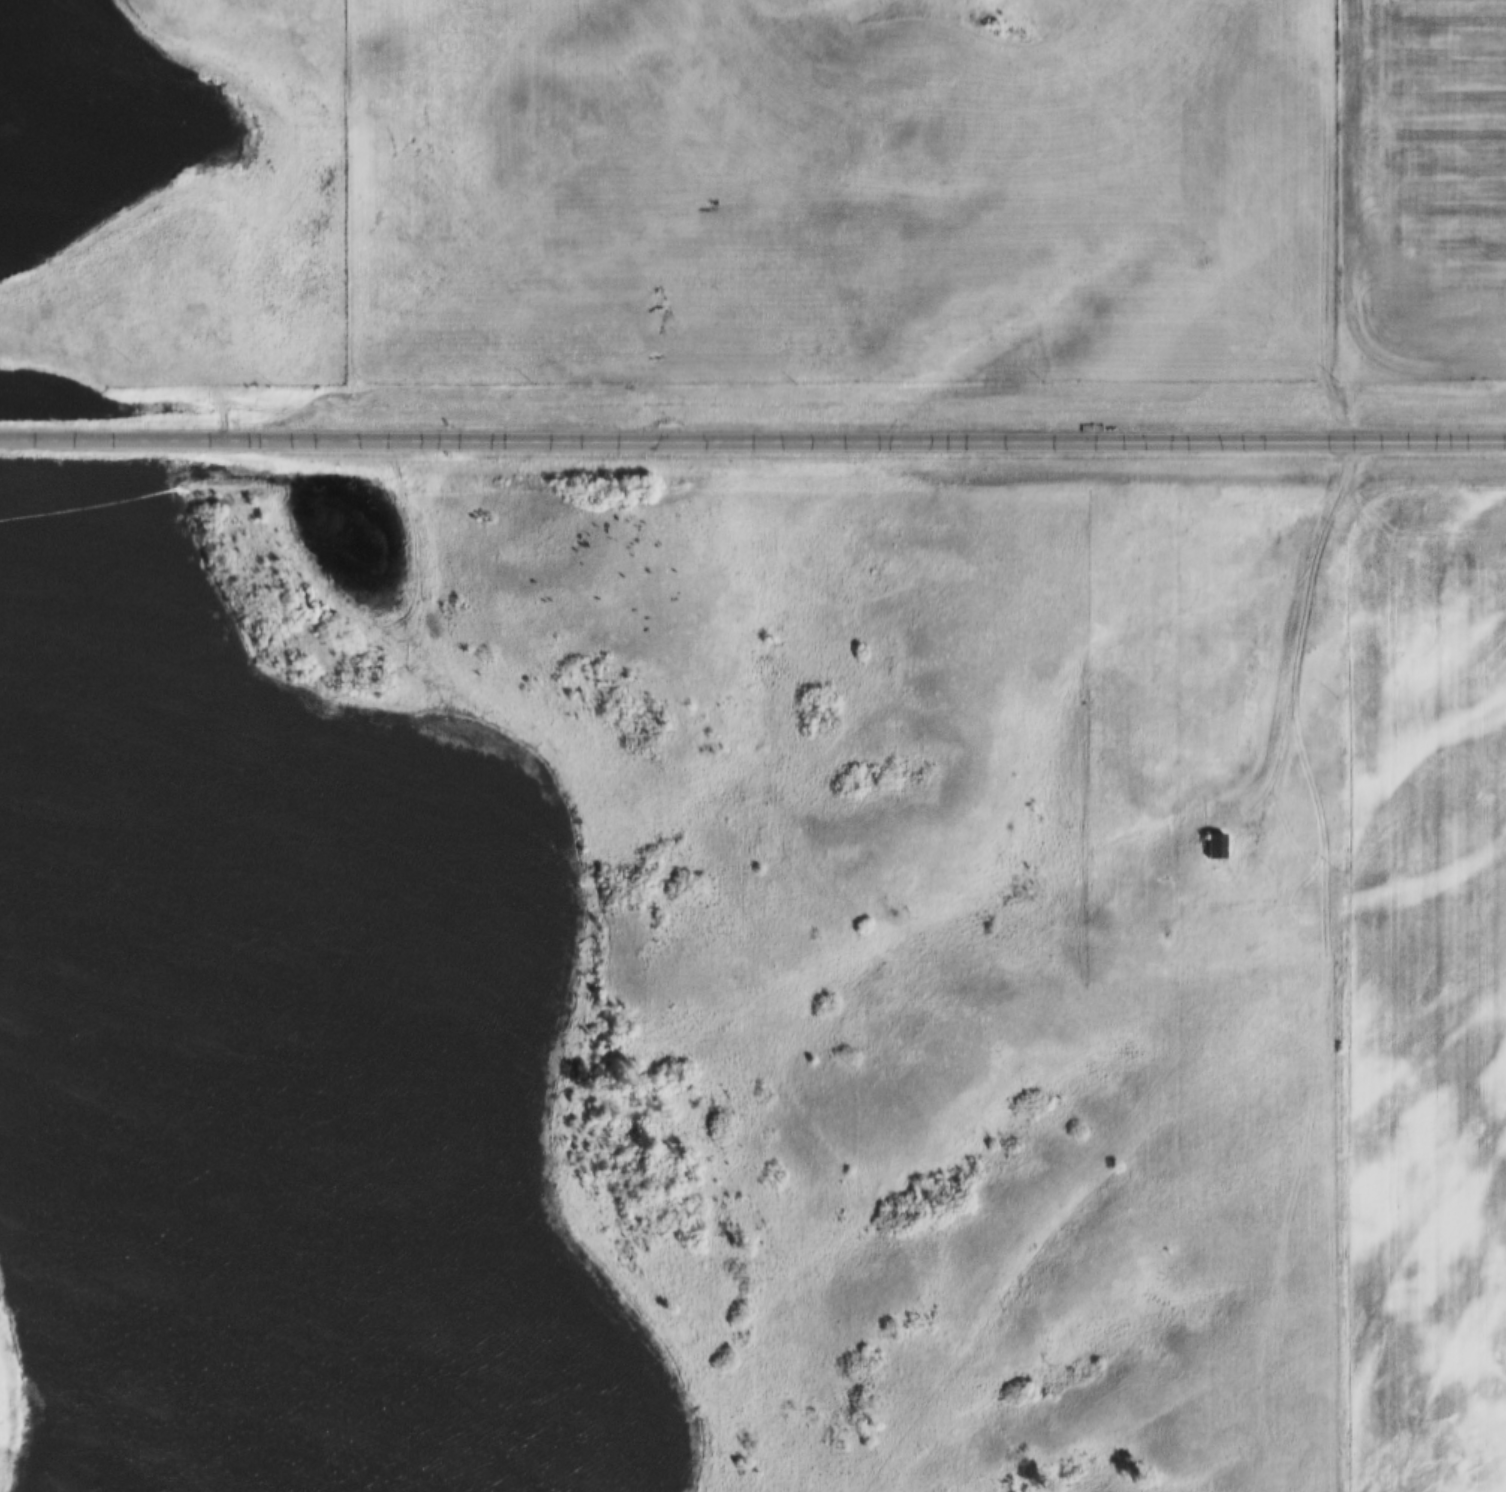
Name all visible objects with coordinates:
road: (752, 440)
road: (1299, 639)
building: (1217, 844)

